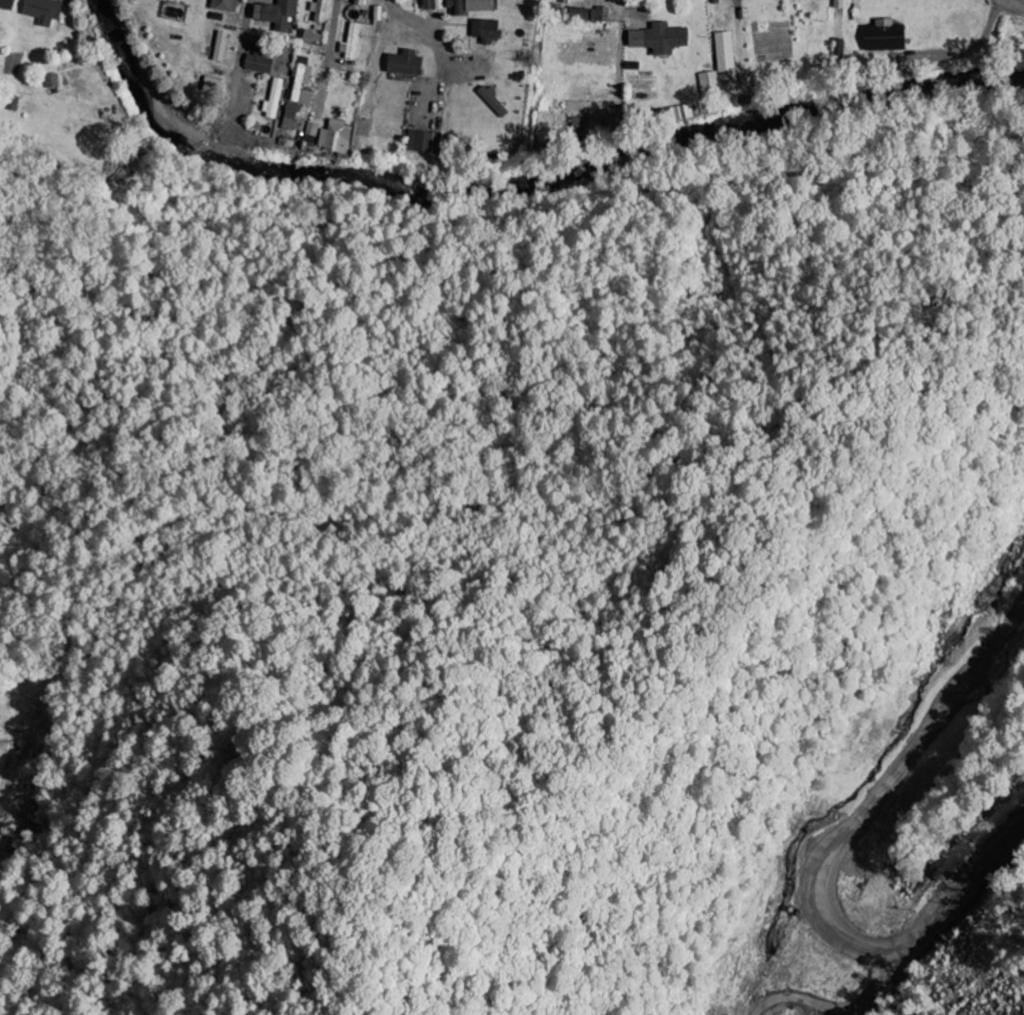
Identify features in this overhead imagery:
building: (361, 2)
building: (7, 4)
building: (433, 4)
building: (226, 5)
building: (482, 5)
building: (457, 8)
building: (320, 10)
building: (44, 11)
building: (278, 13)
road: (513, 13)
building: (579, 14)
building: (600, 14)
road: (247, 20)
road: (480, 26)
building: (486, 30)
building: (313, 36)
road: (331, 36)
building: (886, 36)
building: (661, 38)
building: (352, 43)
building: (221, 46)
building: (726, 52)
building: (260, 63)
building: (406, 63)
building: (51, 81)
building: (302, 84)
building: (710, 86)
building: (274, 99)
building: (494, 101)
building: (678, 113)
building: (291, 115)
building: (576, 125)
building: (312, 134)
building: (336, 138)
building: (421, 141)
road: (988, 612)

